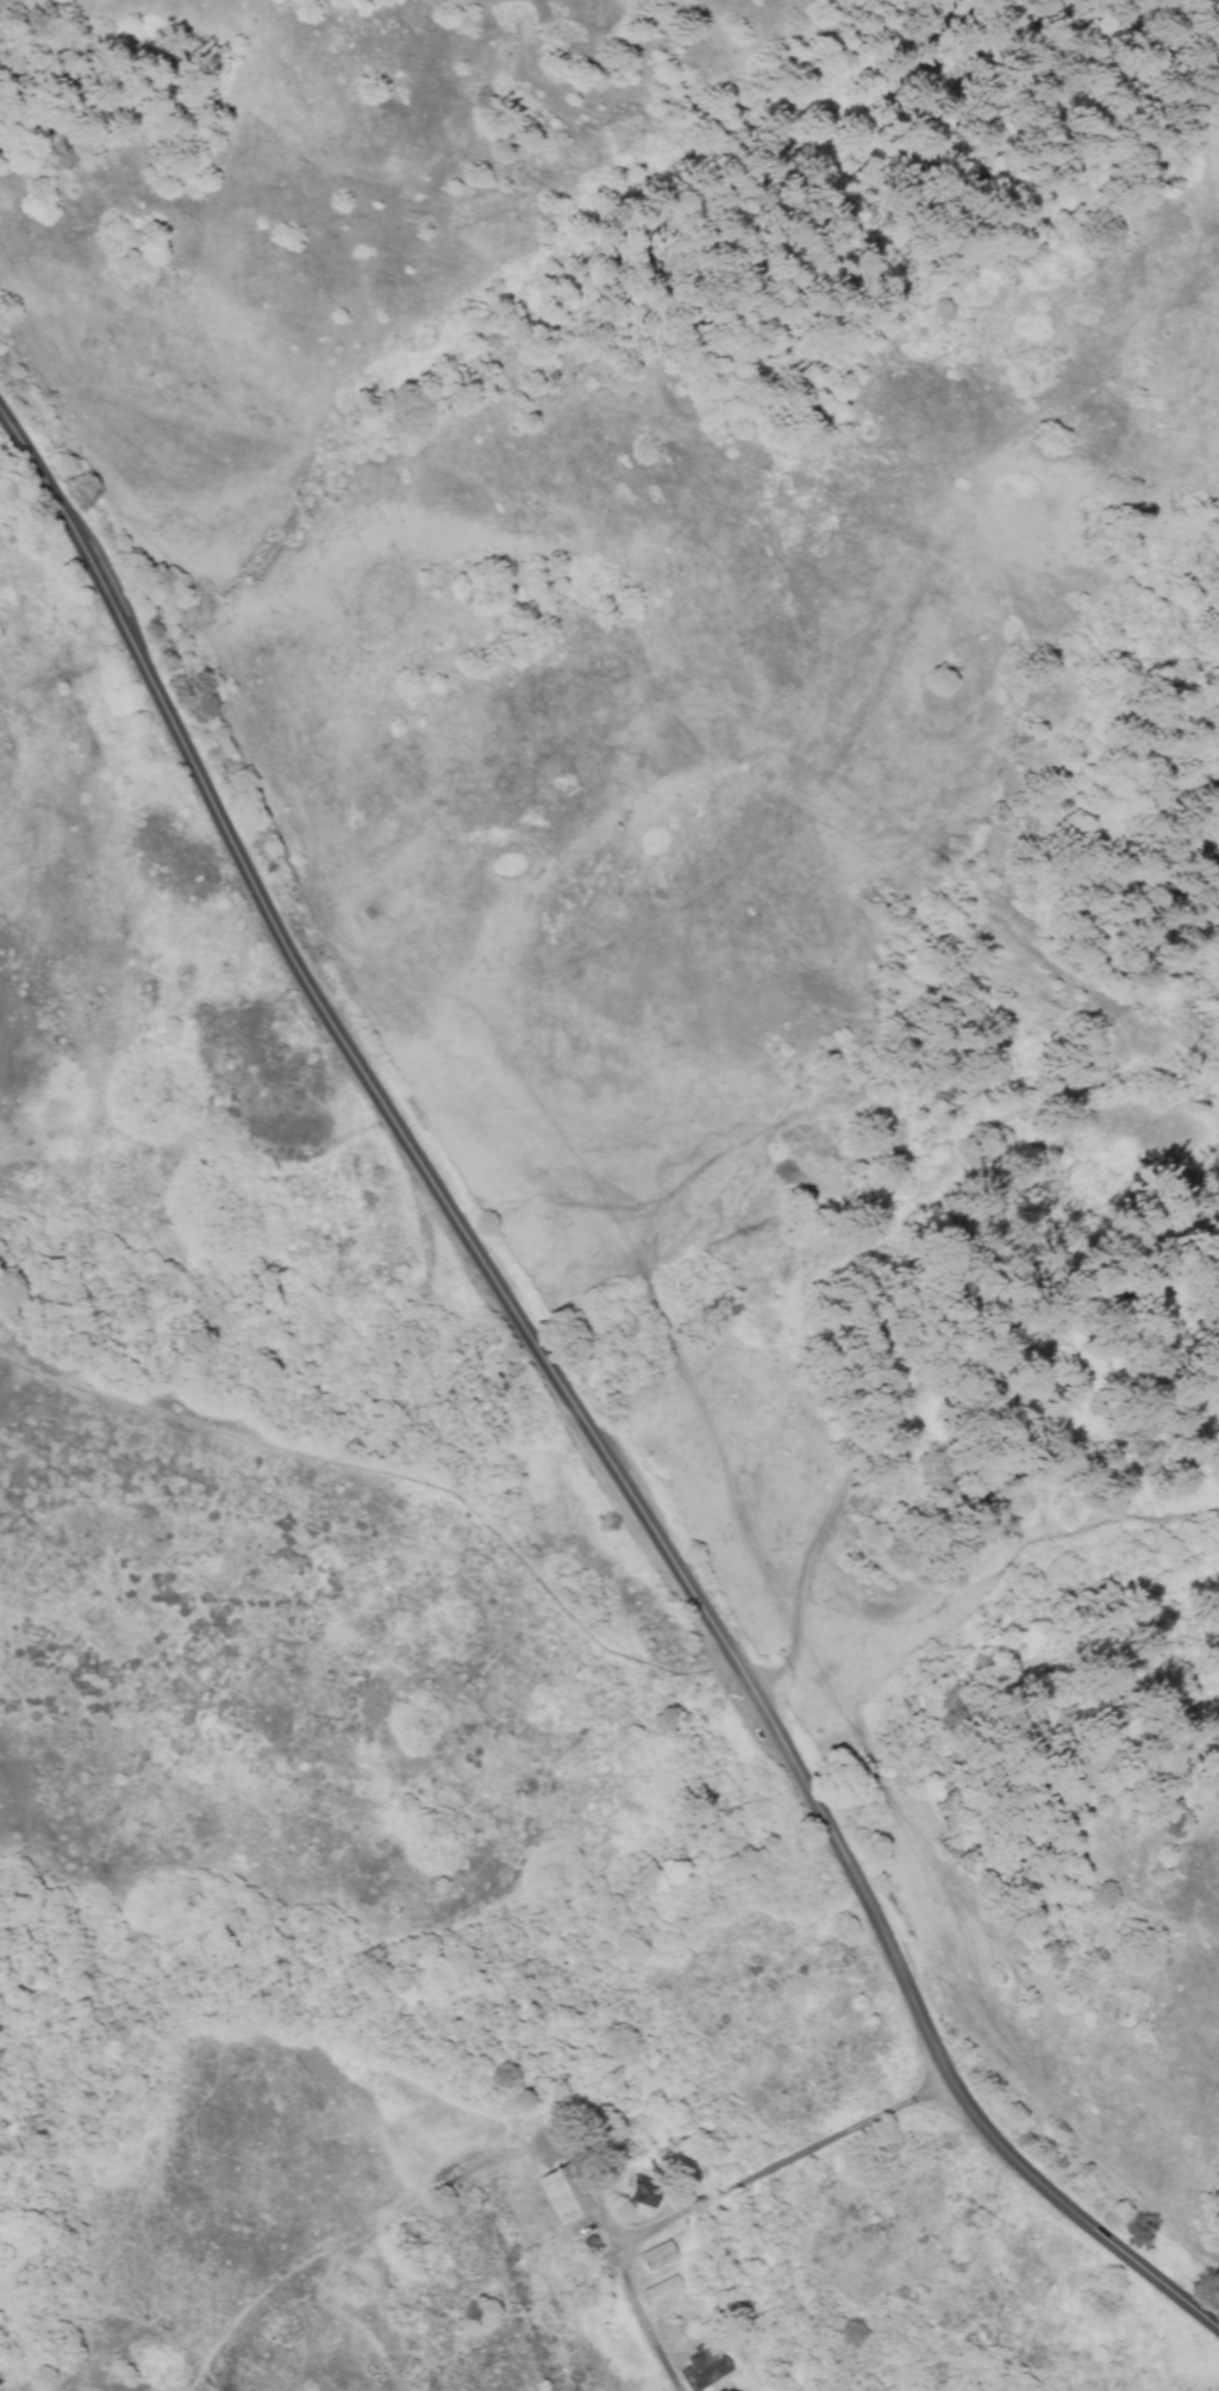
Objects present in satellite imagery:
road: (776, 790)
road: (909, 1401)
road: (571, 1405)
road: (399, 1472)
building: (644, 2193)
building: (563, 2197)
road: (714, 2198)
building: (658, 2256)
building: (662, 2291)
building: (706, 2373)

